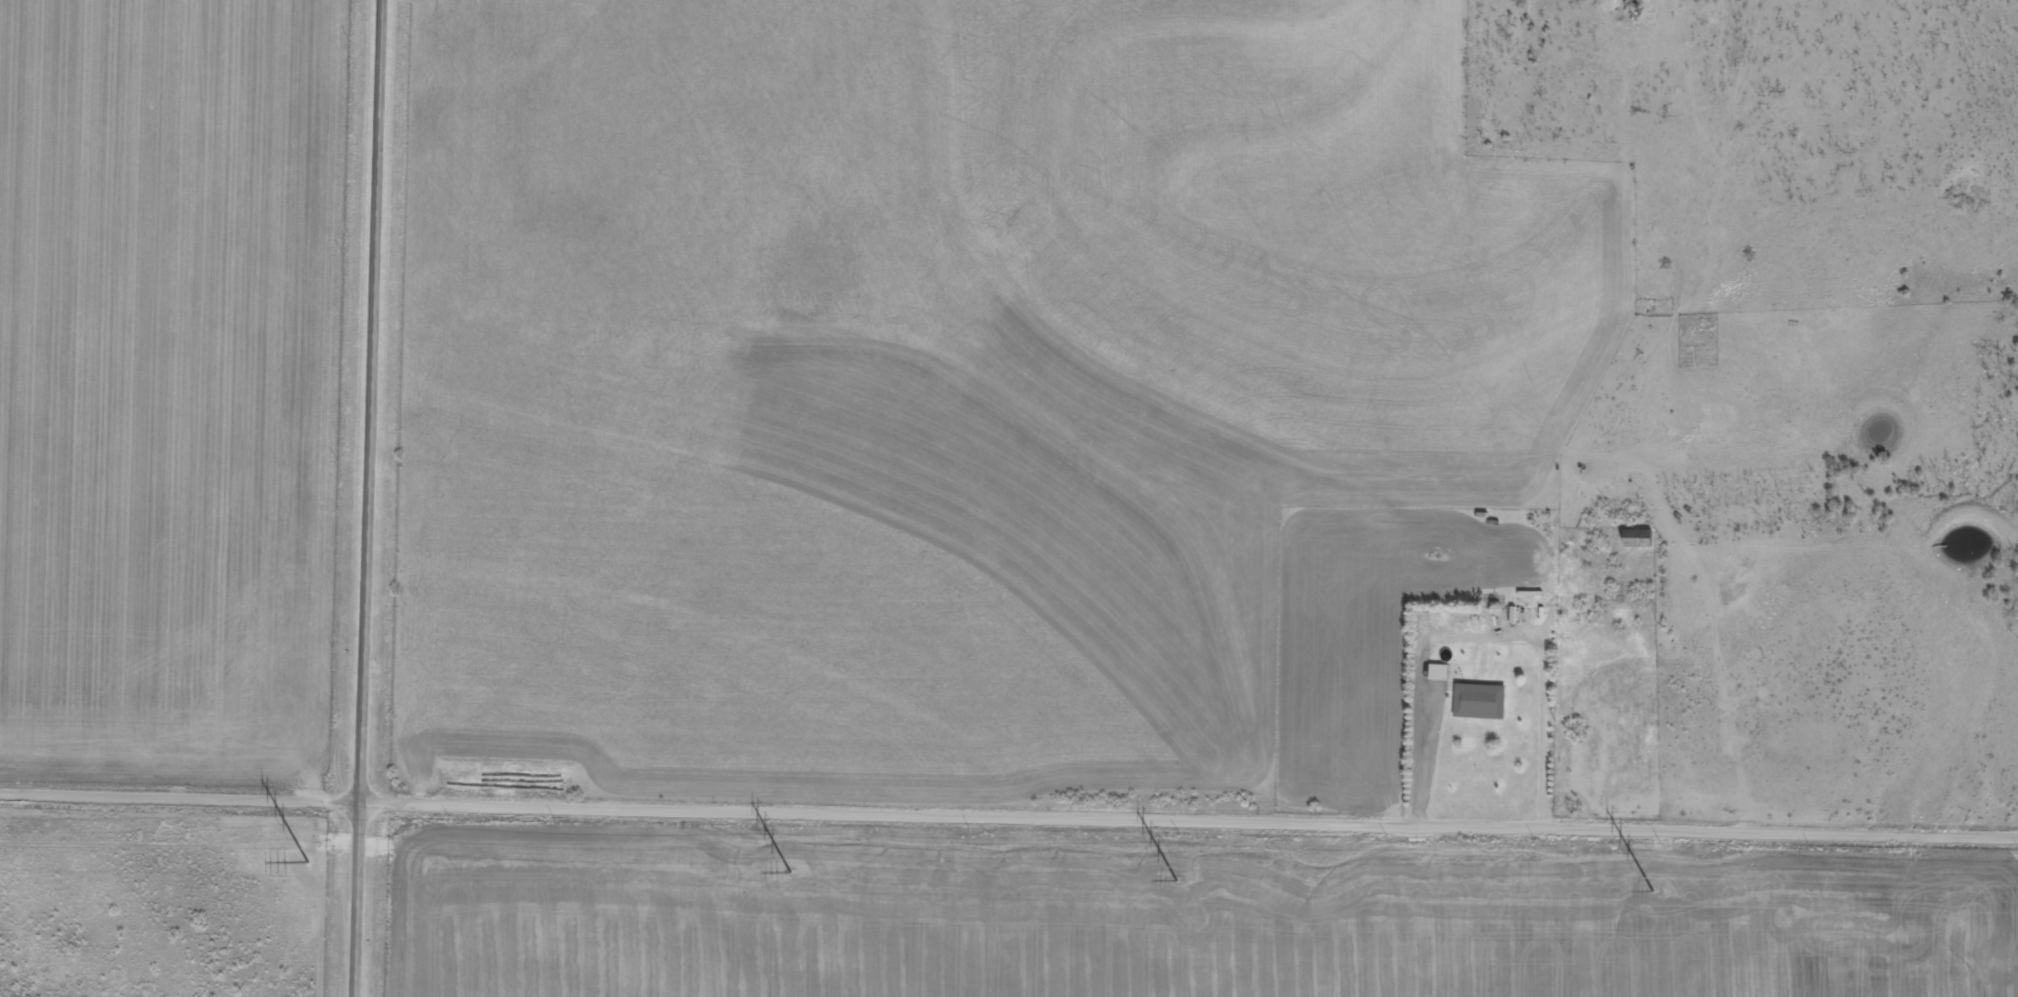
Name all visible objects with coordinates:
road: (368, 498)
building: (1635, 539)
road: (1520, 640)
building: (1435, 674)
building: (1475, 703)
road: (180, 796)
road: (1188, 817)
power tower: (307, 861)
power tower: (792, 871)
power tower: (1176, 879)
power tower: (1653, 889)

